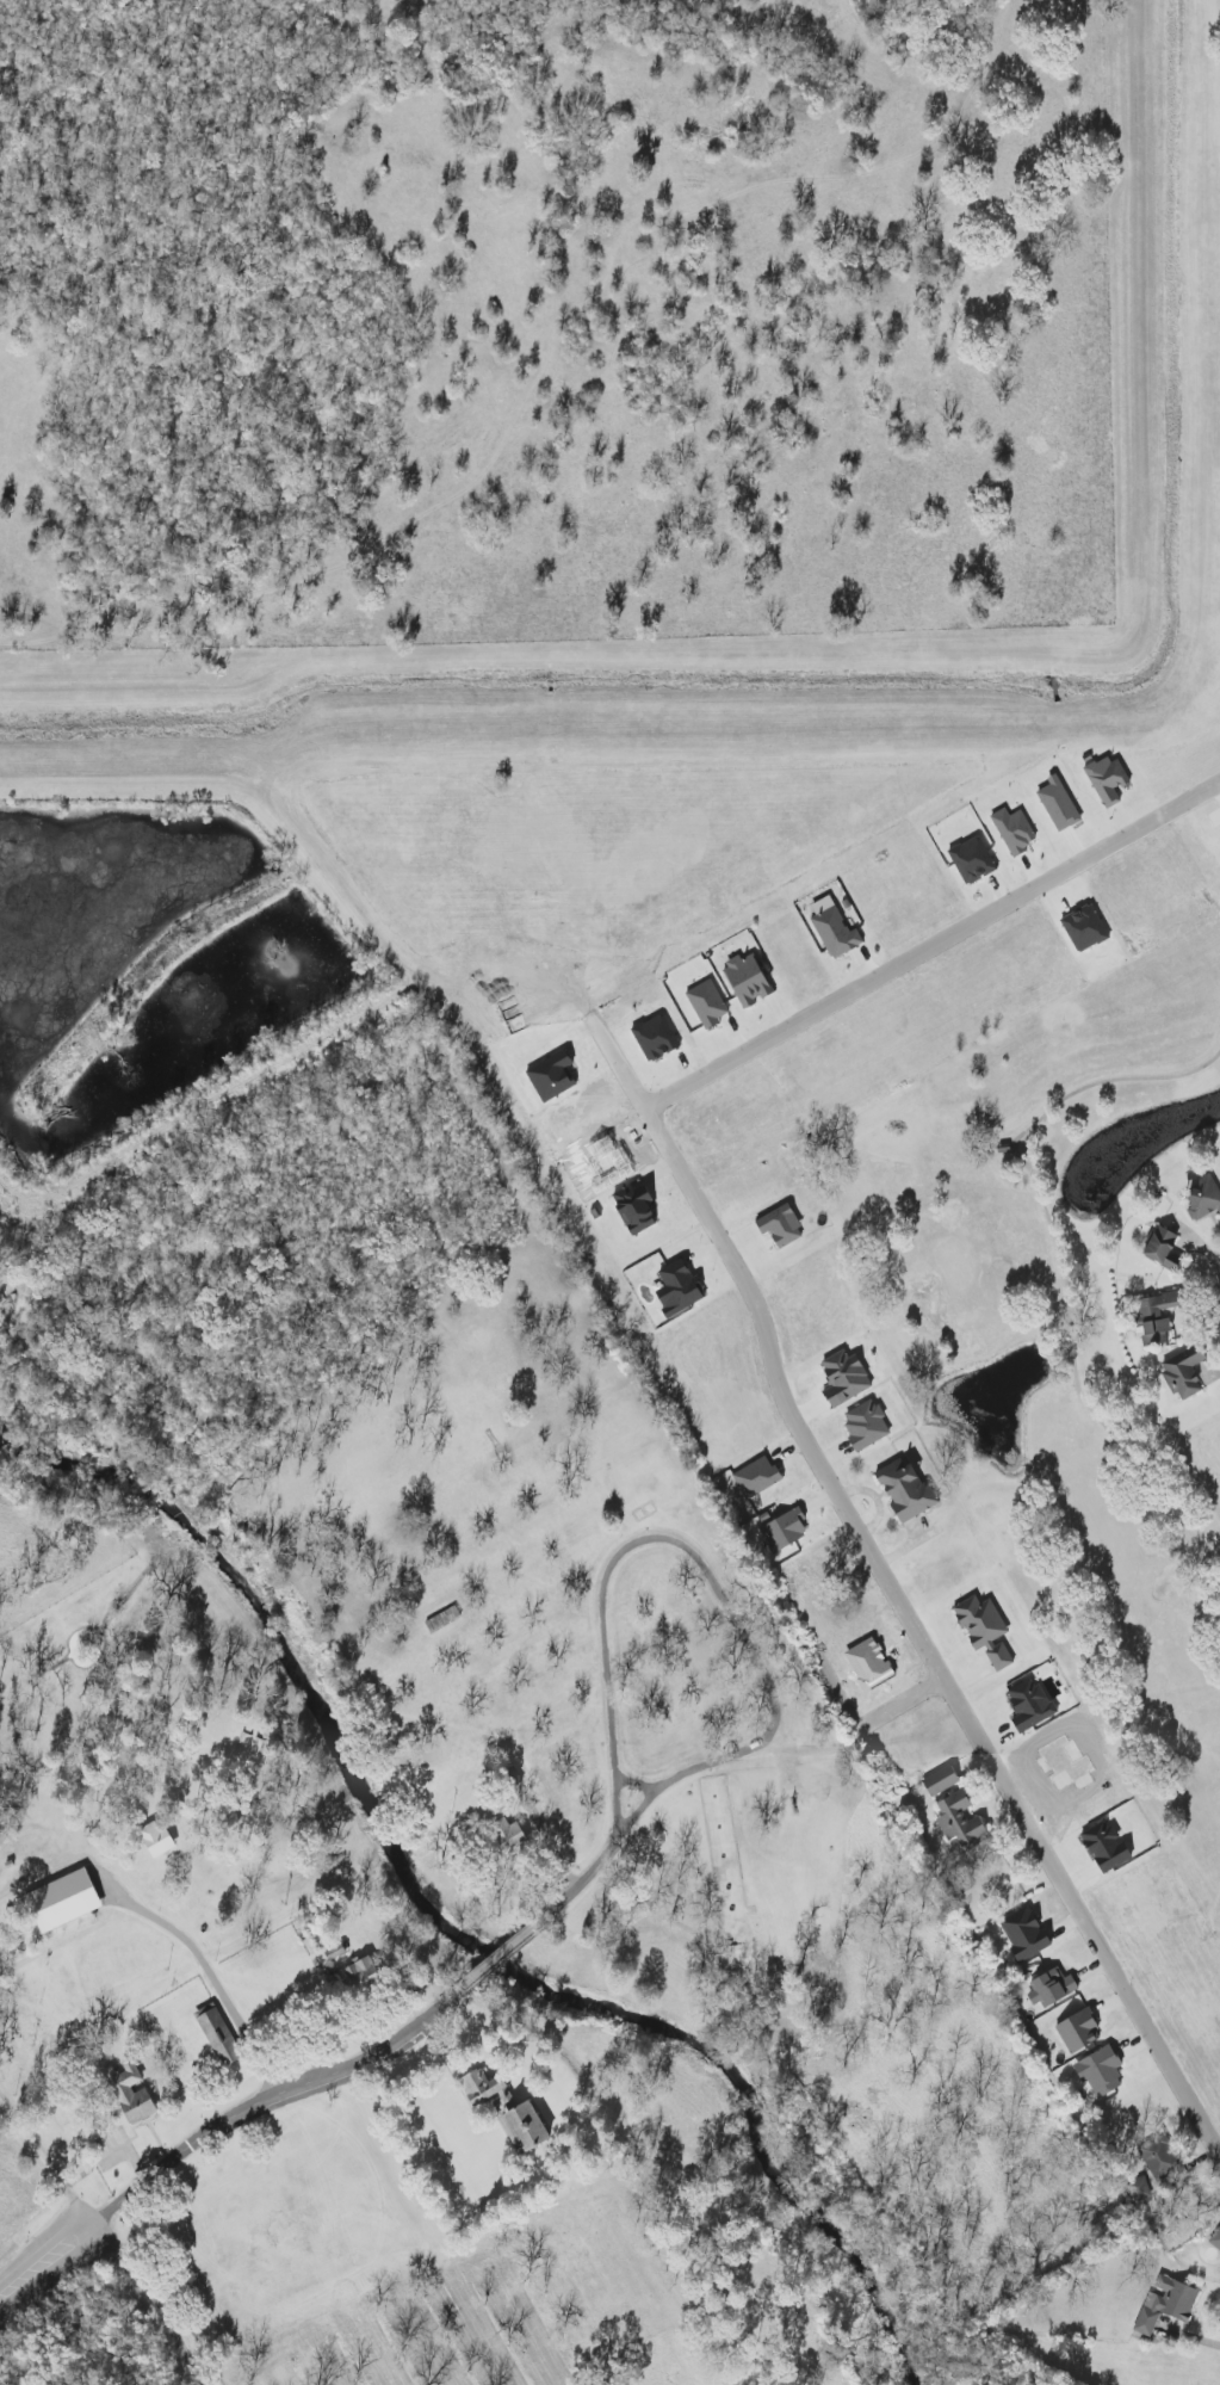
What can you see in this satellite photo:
building: (1106, 779)
building: (1012, 830)
building: (971, 860)
building: (1084, 928)
building: (834, 932)
road: (935, 951)
building: (747, 981)
building: (706, 1005)
building: (1206, 1199)
building: (634, 1205)
building: (781, 1227)
building: (1164, 1250)
building: (677, 1290)
building: (1157, 1318)
park: (1052, 1328)
building: (1183, 1372)
building: (844, 1378)
building: (866, 1426)
building: (757, 1477)
building: (905, 1490)
building: (784, 1532)
road: (879, 1574)
road: (727, 1612)
building: (441, 1620)
building: (984, 1630)
road: (894, 1705)
building: (1029, 1705)
building: (941, 1780)
building: (959, 1819)
building: (156, 1839)
building: (513, 1840)
river: (422, 1879)
building: (62, 1901)
building: (1026, 1933)
road: (487, 1966)
building: (363, 1975)
road: (224, 1987)
building: (1051, 1988)
building: (1078, 2031)
building: (216, 2034)
building: (1100, 2071)
building: (483, 2088)
building: (131, 2097)
road: (256, 2102)
building: (526, 2128)
road: (101, 2237)
building: (1214, 2238)
road: (44, 2260)
building: (1166, 2306)

